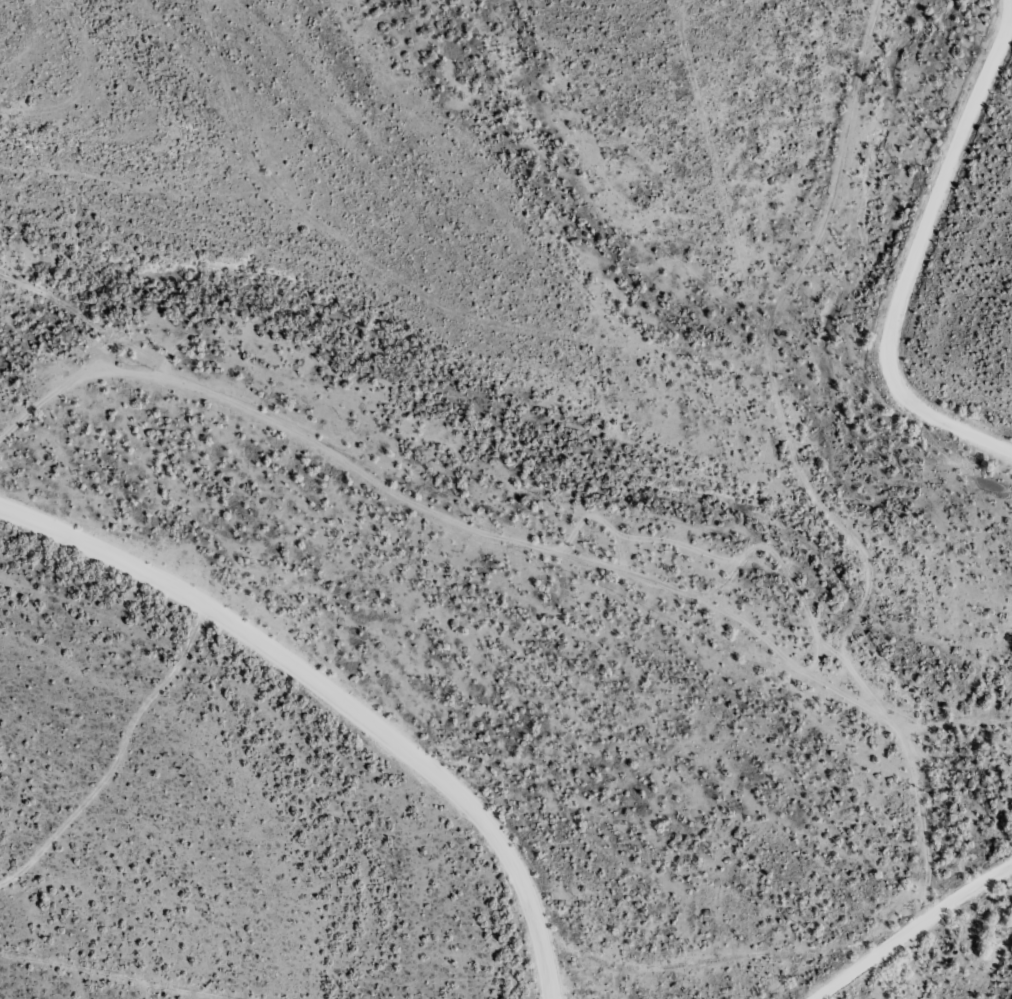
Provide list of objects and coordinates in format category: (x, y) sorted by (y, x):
road: (759, 523)
road: (334, 694)
road: (697, 980)

